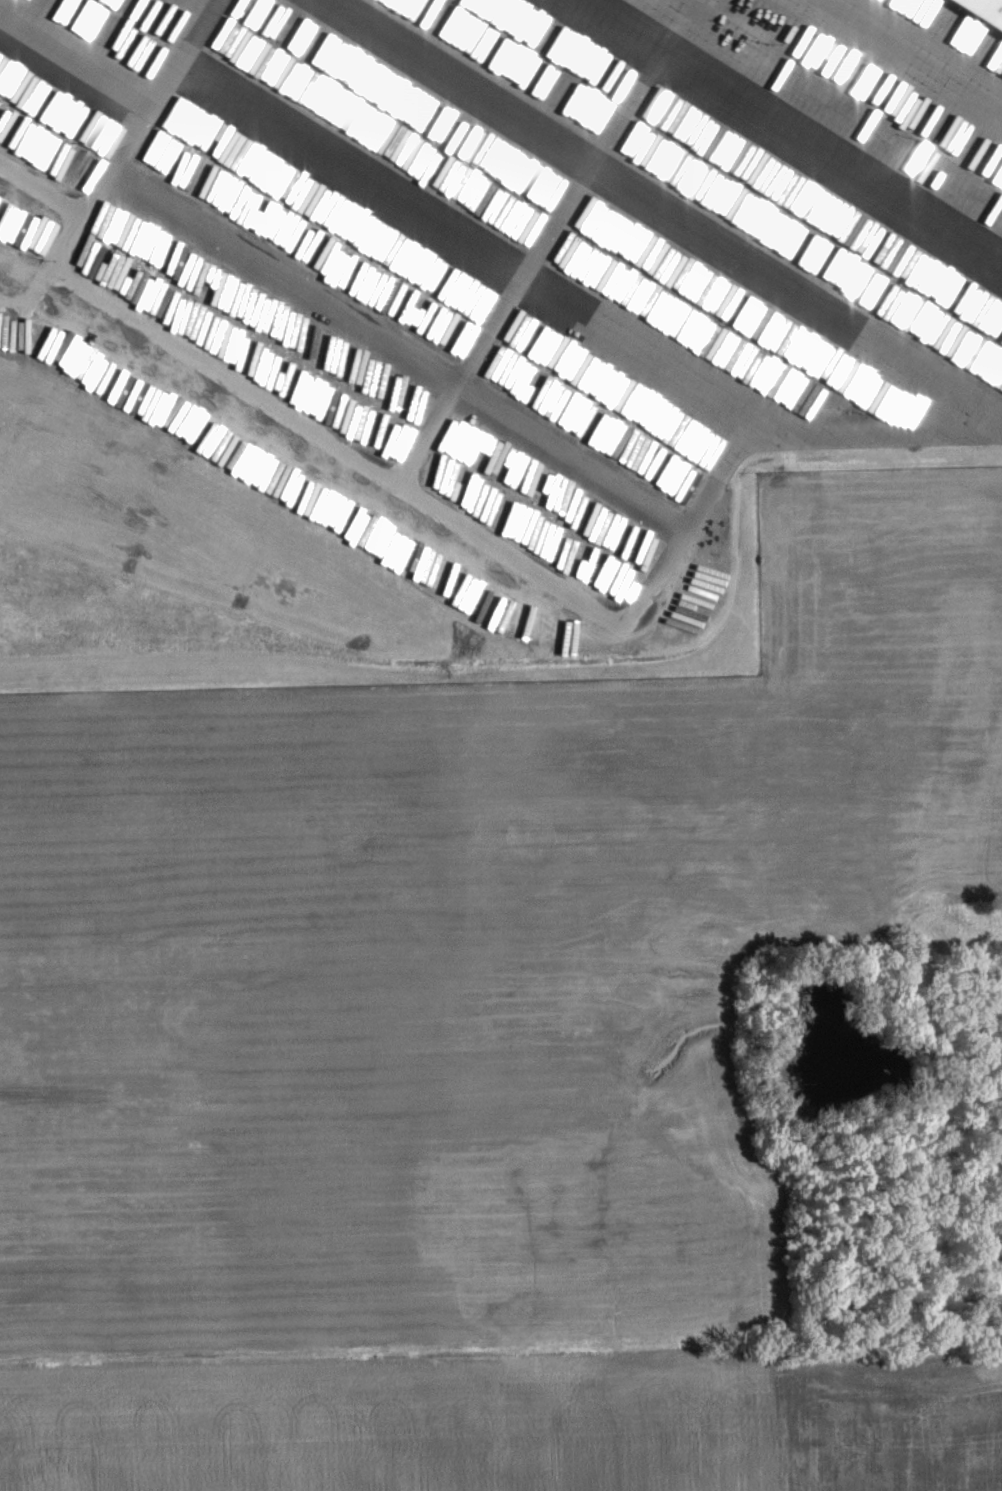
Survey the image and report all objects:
building: (993, 5)

